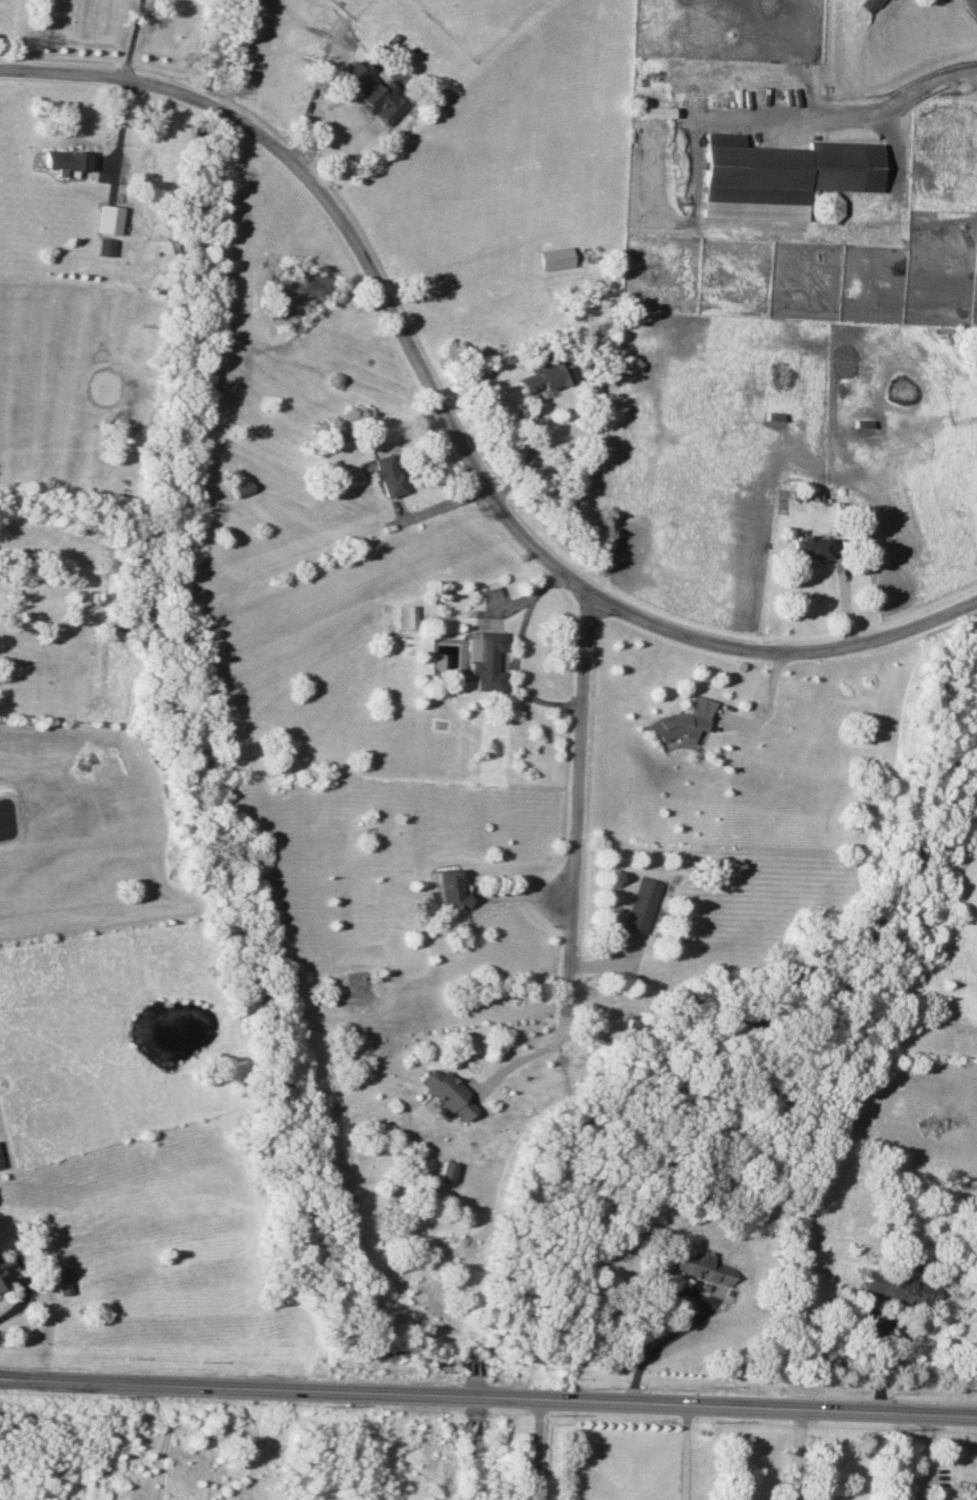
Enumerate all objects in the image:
road: (972, 4)
building: (869, 5)
road: (128, 38)
building: (373, 91)
building: (654, 112)
road: (824, 115)
road: (119, 130)
building: (65, 161)
building: (783, 178)
building: (108, 219)
building: (105, 246)
building: (555, 257)
building: (543, 378)
road: (451, 426)
building: (387, 475)
building: (810, 548)
building: (407, 616)
road: (515, 654)
building: (485, 660)
road: (765, 702)
building: (682, 722)
road: (576, 752)
building: (448, 890)
road: (518, 893)
building: (640, 904)
road: (560, 1014)
building: (446, 1093)
building: (446, 1170)
building: (703, 1267)
building: (2, 1279)
building: (62, 1280)
building: (901, 1288)
road: (17, 1304)
road: (701, 1310)
road: (876, 1334)
road: (488, 1400)
road: (535, 1450)
road: (687, 1453)
road: (800, 1455)
road: (920, 1458)

